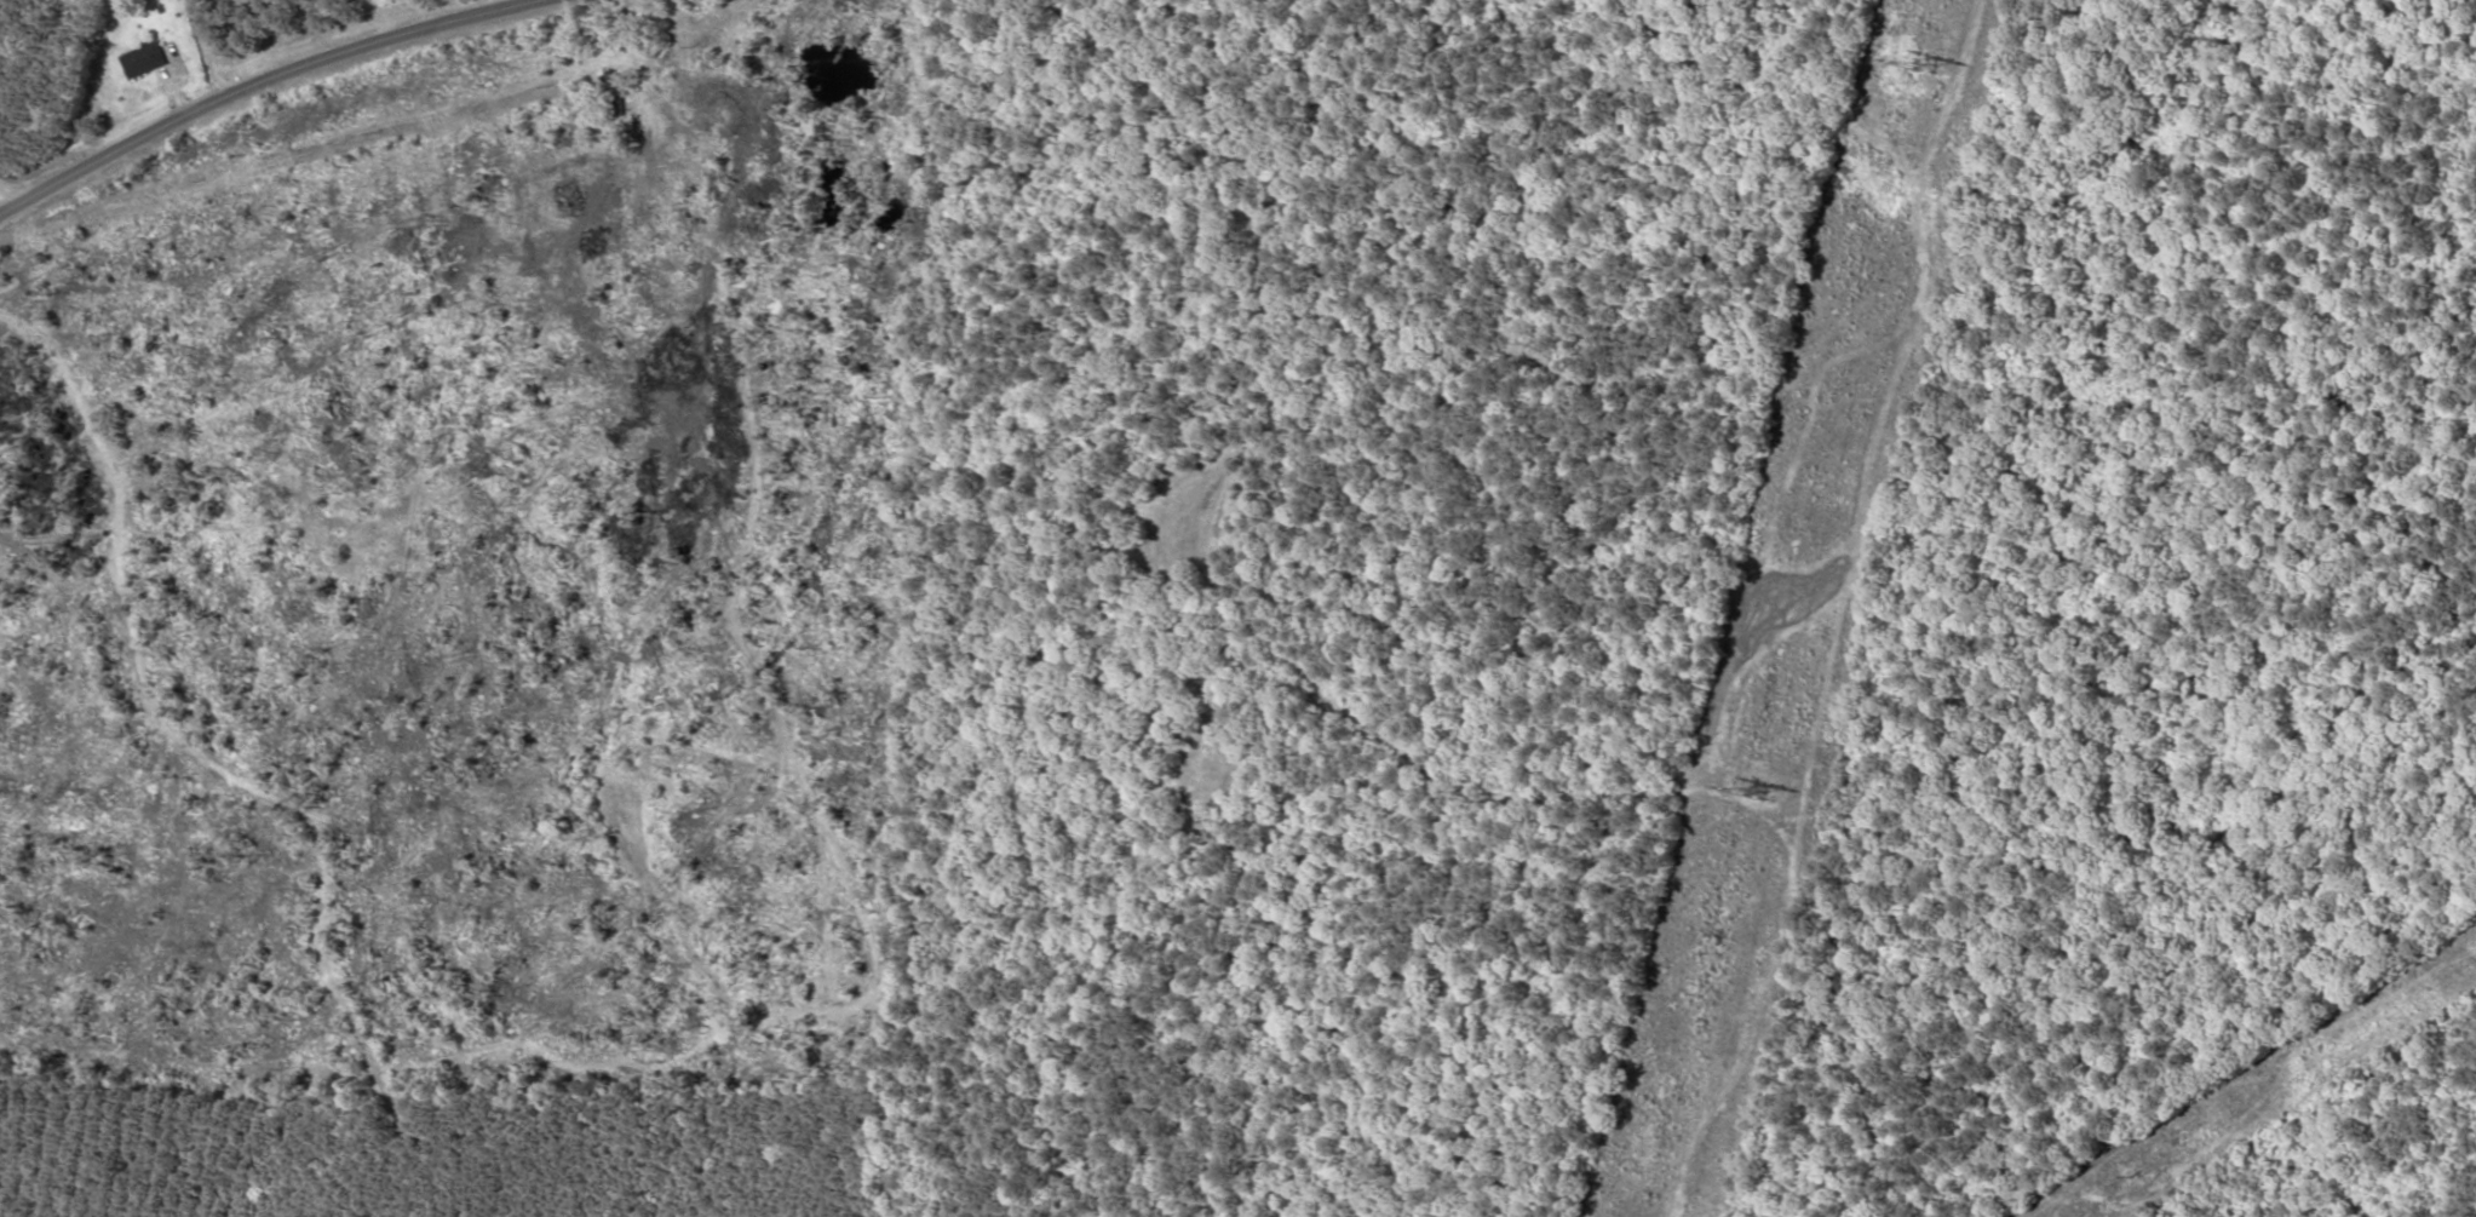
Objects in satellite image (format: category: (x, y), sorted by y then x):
road: (207, 48)
building: (143, 59)
power tower: (1931, 73)
road: (265, 81)

